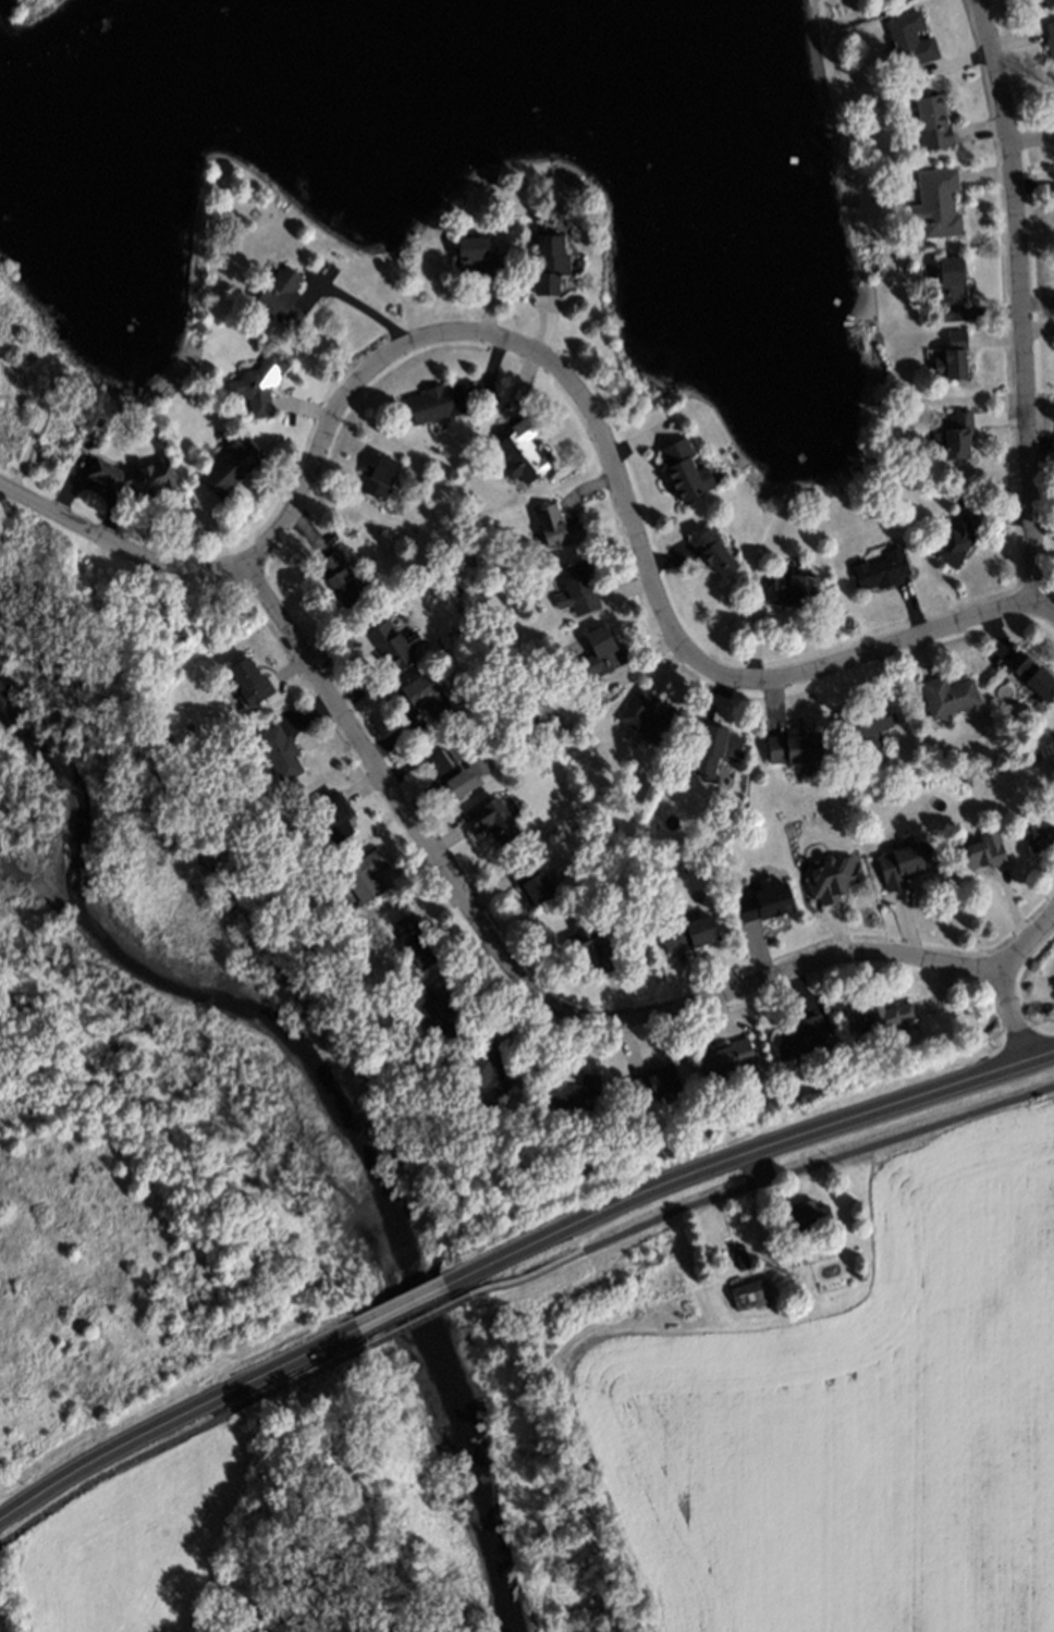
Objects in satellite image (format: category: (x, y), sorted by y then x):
building: (904, 0)
building: (1043, 1)
park: (33, 11)
building: (906, 35)
building: (1049, 36)
building: (928, 119)
building: (936, 200)
building: (476, 254)
building: (548, 261)
building: (946, 280)
building: (281, 294)
road: (366, 309)
road: (1022, 309)
building: (951, 352)
road: (371, 369)
building: (258, 380)
park: (37, 394)
building: (434, 401)
building: (954, 431)
building: (519, 450)
building: (230, 463)
building: (685, 469)
building: (128, 473)
building: (377, 473)
building: (555, 523)
road: (638, 538)
building: (954, 538)
road: (117, 543)
building: (713, 554)
building: (442, 565)
building: (881, 567)
building: (340, 577)
building: (580, 586)
building: (790, 587)
building: (391, 646)
building: (602, 649)
road: (875, 651)
building: (1032, 672)
building: (249, 682)
building: (947, 692)
building: (419, 695)
building: (649, 714)
building: (867, 719)
building: (714, 746)
building: (795, 746)
building: (280, 748)
building: (466, 764)
road: (390, 788)
building: (333, 813)
building: (494, 818)
building: (1037, 827)
building: (979, 851)
building: (902, 860)
building: (365, 873)
building: (830, 873)
building: (532, 880)
building: (767, 897)
building: (690, 927)
building: (417, 940)
road: (1027, 942)
building: (593, 943)
road: (770, 975)
building: (442, 1008)
building: (882, 1011)
road: (1014, 1014)
building: (800, 1034)
building: (726, 1053)
building: (491, 1066)
building: (655, 1079)
building: (573, 1089)
river: (304, 1124)
road: (759, 1150)
road: (752, 1212)
building: (804, 1215)
building: (740, 1253)
building: (748, 1290)
road: (410, 1301)
crop: (841, 1411)
road: (169, 1421)

